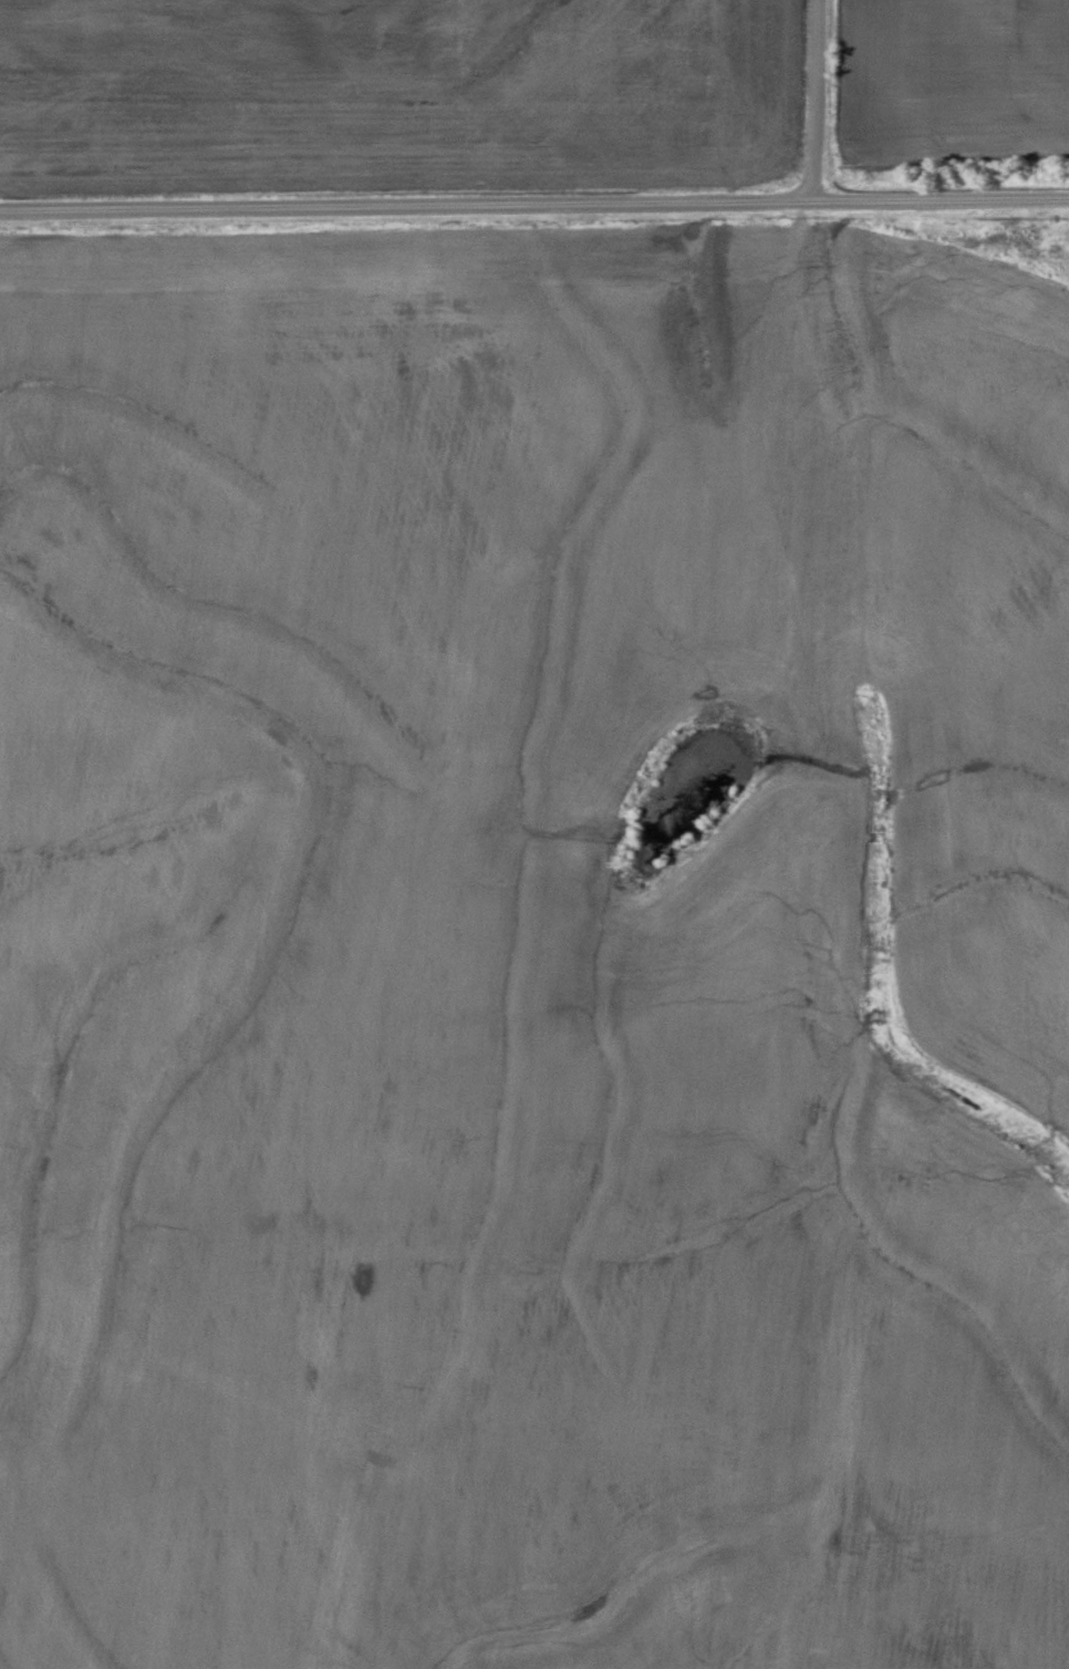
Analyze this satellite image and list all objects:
road: (814, 106)
road: (534, 217)

